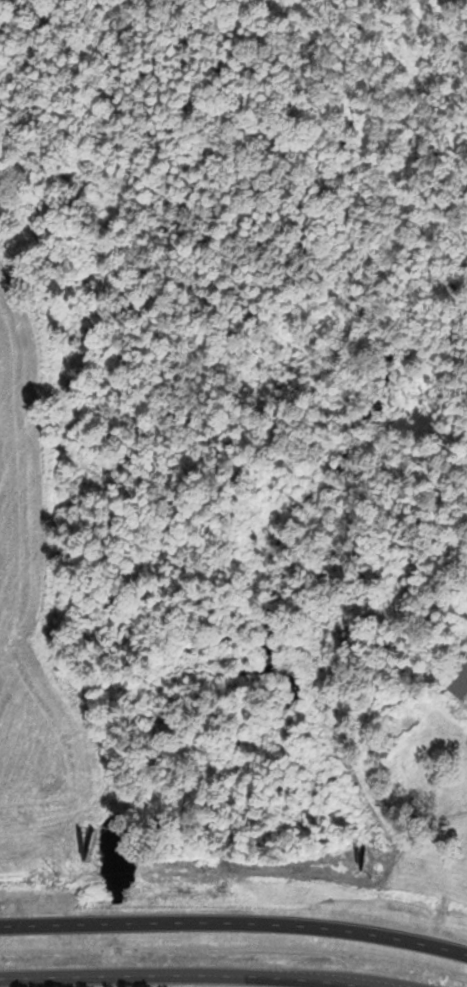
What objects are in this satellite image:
building: (457, 678)
road: (234, 921)
road: (187, 972)

